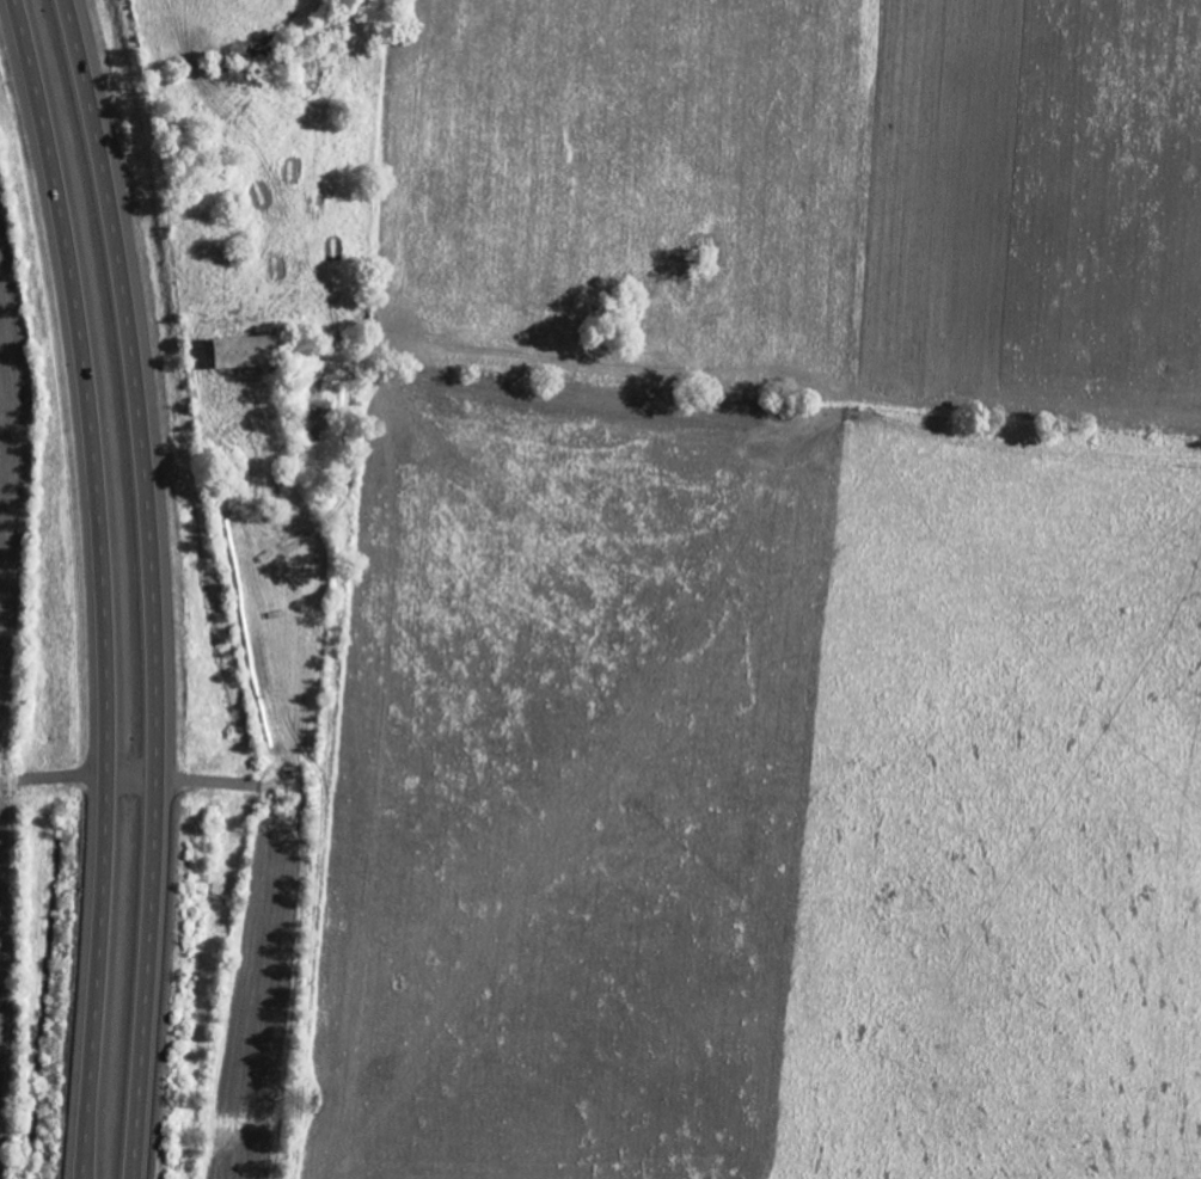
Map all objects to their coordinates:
building: (245, 350)
road: (104, 585)
road: (155, 585)

